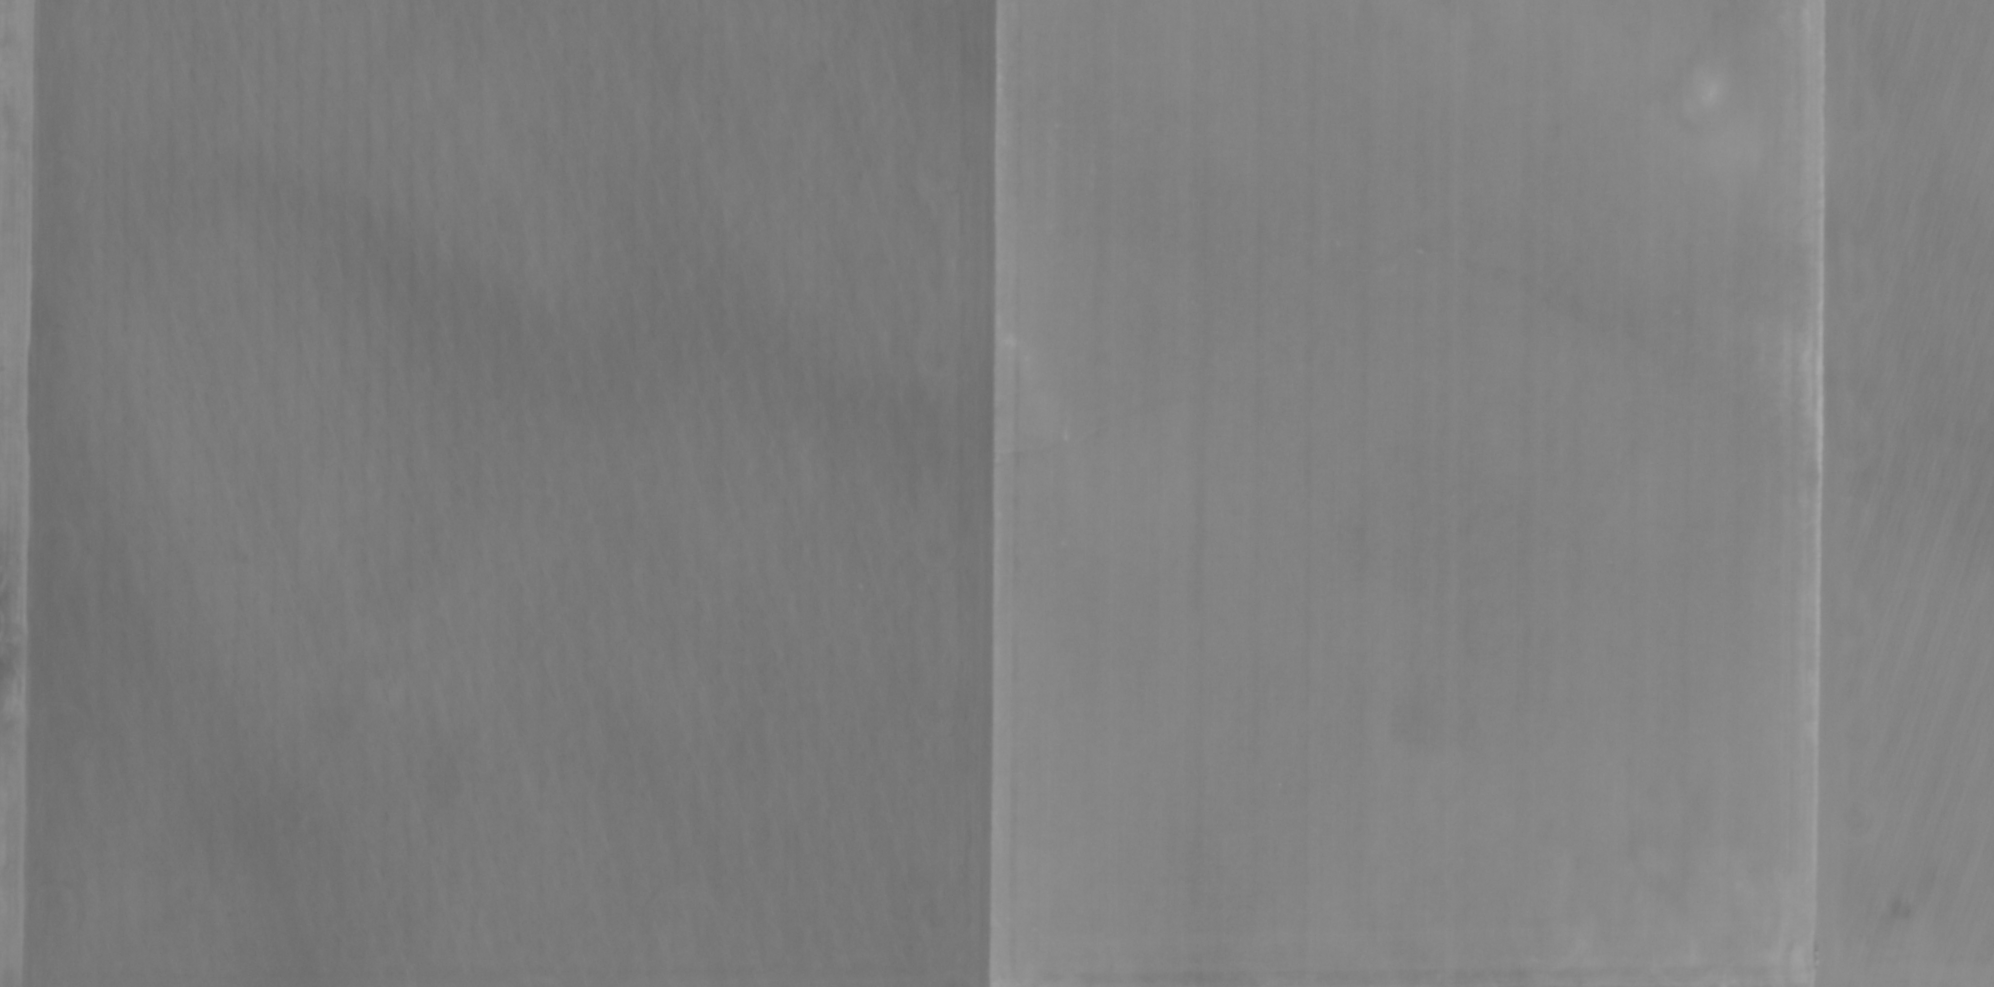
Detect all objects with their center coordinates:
crop: (997, 493)

